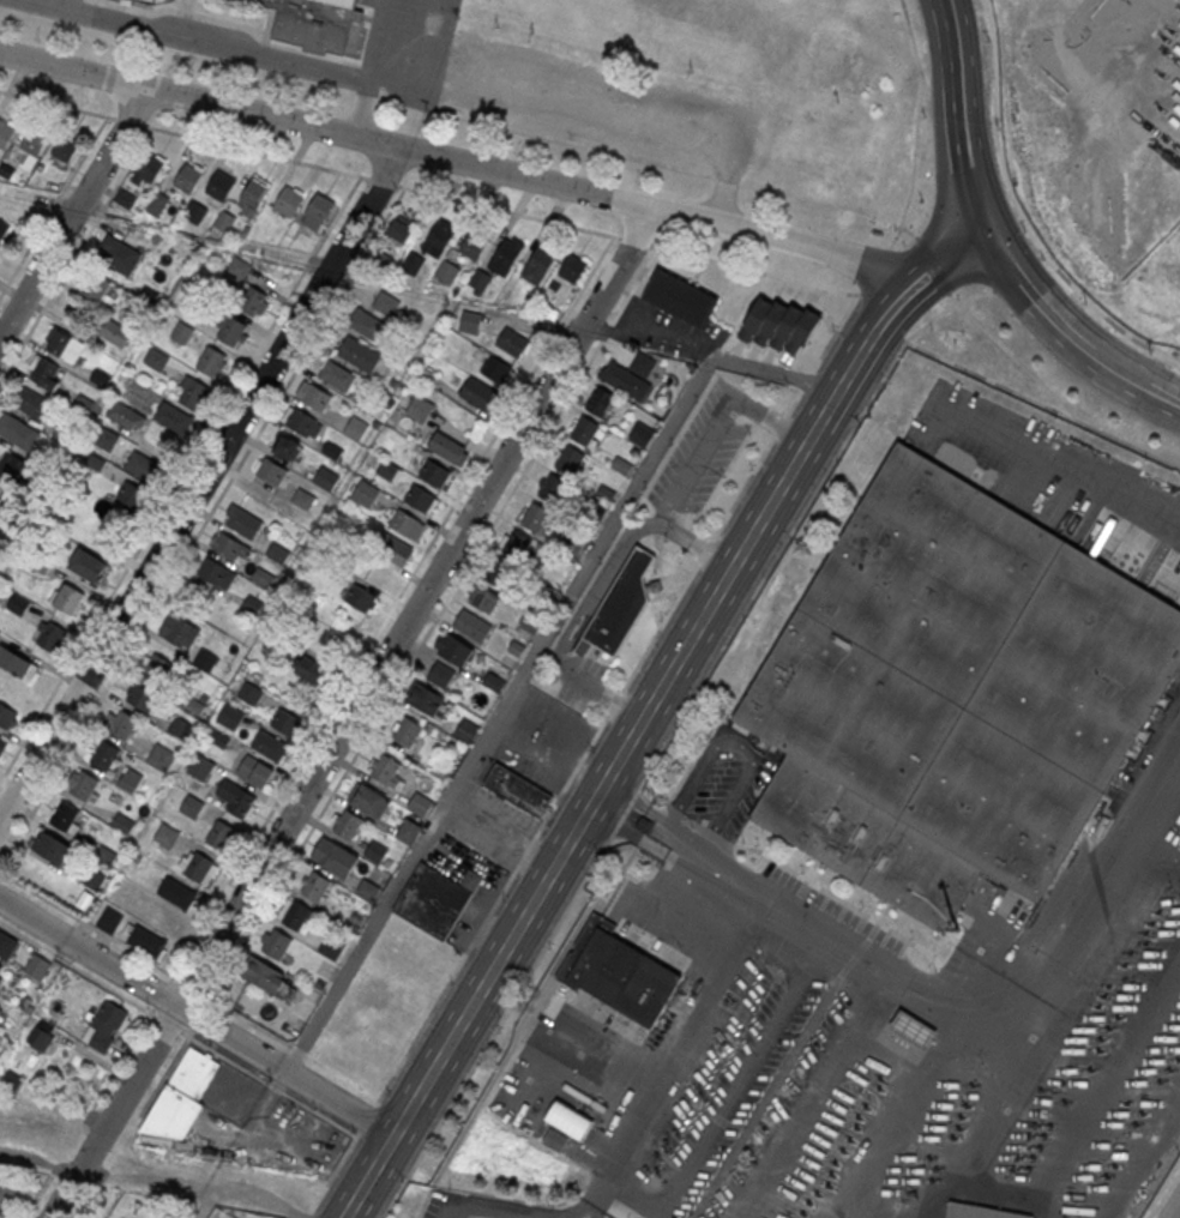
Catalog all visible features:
building: (150, 0)
building: (153, 0)
parking lot: (48, 7)
building: (313, 22)
road: (426, 46)
park: (761, 52)
road: (372, 68)
road: (608, 73)
road: (413, 90)
parking lot: (558, 91)
road: (56, 103)
road: (956, 119)
road: (130, 120)
road: (916, 125)
building: (6, 132)
road: (1175, 138)
building: (35, 140)
building: (66, 146)
road: (255, 150)
road: (457, 161)
building: (149, 167)
building: (188, 177)
road: (380, 180)
building: (221, 183)
building: (254, 192)
building: (126, 199)
building: (288, 200)
building: (157, 205)
road: (54, 206)
road: (1021, 206)
building: (318, 210)
road: (73, 211)
road: (507, 211)
building: (194, 213)
building: (224, 223)
road: (892, 224)
building: (2, 227)
building: (402, 229)
traffic signals: (987, 234)
building: (439, 237)
road: (634, 241)
building: (471, 247)
road: (76, 253)
building: (0, 254)
building: (119, 254)
building: (506, 255)
building: (413, 261)
road: (947, 261)
building: (537, 264)
road: (932, 265)
building: (572, 267)
road: (754, 269)
road: (873, 269)
building: (239, 270)
building: (447, 271)
building: (1179, 272)
building: (480, 279)
building: (95, 287)
road: (1031, 299)
building: (681, 300)
building: (253, 301)
building: (386, 302)
road: (893, 307)
building: (470, 320)
road: (660, 322)
building: (367, 324)
building: (778, 324)
road: (596, 327)
parking lot: (664, 330)
building: (230, 331)
road: (836, 331)
building: (114, 333)
building: (182, 333)
road: (661, 337)
building: (512, 340)
building: (64, 345)
building: (359, 352)
road: (1091, 355)
road: (859, 356)
road: (1173, 357)
building: (156, 358)
building: (212, 363)
building: (644, 366)
building: (495, 368)
road: (777, 373)
building: (46, 374)
building: (337, 375)
road: (806, 380)
building: (627, 381)
road: (1136, 382)
road: (1173, 387)
road: (1055, 390)
building: (480, 392)
building: (193, 394)
building: (313, 396)
building: (31, 402)
building: (602, 402)
road: (830, 404)
building: (420, 410)
building: (126, 417)
building: (174, 418)
road: (770, 418)
building: (301, 421)
building: (356, 427)
building: (17, 429)
building: (585, 432)
building: (640, 434)
building: (106, 439)
building: (287, 447)
building: (448, 450)
parking lot: (699, 457)
road: (697, 459)
building: (570, 460)
road: (758, 463)
building: (143, 468)
building: (12, 469)
building: (387, 469)
building: (272, 471)
building: (434, 472)
building: (326, 477)
road: (1062, 478)
road: (180, 483)
road: (200, 484)
building: (553, 489)
building: (366, 493)
building: (132, 495)
building: (303, 499)
building: (420, 499)
building: (536, 518)
building: (242, 520)
building: (404, 521)
road: (201, 526)
building: (517, 543)
road: (697, 543)
building: (230, 549)
building: (392, 549)
road: (706, 549)
building: (277, 551)
road: (614, 556)
building: (89, 565)
building: (499, 572)
building: (217, 574)
building: (263, 577)
building: (67, 597)
building: (361, 598)
building: (482, 599)
building: (252, 603)
building: (18, 604)
building: (622, 604)
road: (391, 607)
road: (432, 625)
building: (472, 625)
building: (179, 632)
road: (577, 633)
building: (49, 635)
road: (562, 640)
building: (456, 649)
building: (206, 659)
building: (16, 663)
building: (313, 670)
building: (440, 675)
building: (493, 682)
parking lot: (580, 682)
road: (585, 682)
building: (147, 683)
building: (249, 692)
building: (953, 692)
building: (425, 699)
road: (620, 706)
road: (354, 713)
road: (499, 714)
building: (8, 716)
building: (230, 716)
building: (287, 722)
building: (120, 724)
building: (180, 726)
building: (408, 731)
building: (466, 731)
road: (670, 735)
building: (218, 737)
parking lot: (542, 738)
building: (2, 743)
building: (270, 744)
building: (103, 755)
building: (161, 756)
road: (550, 760)
building: (200, 765)
building: (255, 770)
building: (386, 772)
building: (130, 779)
building: (83, 785)
building: (517, 790)
building: (235, 797)
building: (369, 801)
building: (420, 804)
building: (191, 806)
building: (65, 816)
road: (579, 819)
parking lot: (494, 824)
building: (347, 825)
road: (501, 830)
building: (408, 831)
building: (221, 833)
road: (536, 833)
building: (167, 834)
building: (52, 848)
road: (1161, 848)
building: (375, 852)
building: (335, 858)
building: (198, 866)
building: (471, 879)
building: (314, 887)
building: (368, 891)
building: (177, 892)
building: (433, 899)
parking lot: (475, 910)
building: (293, 915)
building: (108, 921)
road: (90, 924)
building: (146, 941)
building: (6, 945)
building: (275, 945)
building: (331, 948)
road: (90, 953)
building: (1, 964)
building: (36, 967)
road: (80, 970)
building: (618, 971)
building: (1132, 972)
building: (266, 977)
road: (193, 987)
road: (162, 991)
road: (921, 1000)
building: (1, 1009)
road: (199, 1015)
road: (248, 1019)
road: (170, 1025)
building: (106, 1026)
building: (914, 1027)
road: (191, 1031)
building: (40, 1038)
road: (297, 1049)
road: (676, 1051)
road: (121, 1060)
road: (284, 1072)
road: (164, 1074)
road: (746, 1074)
road: (342, 1075)
building: (11, 1081)
road: (269, 1084)
road: (1106, 1085)
road: (812, 1096)
building: (179, 1101)
building: (570, 1117)
road: (366, 1118)
building: (555, 1140)
road: (1145, 1160)
road: (335, 1170)
road: (200, 1181)
building: (6, 1190)
road: (35, 1195)
road: (84, 1201)
road: (207, 1201)
road: (589, 1208)
road: (1034, 1210)
road: (1175, 1210)
road: (308, 1212)
road: (466, 1216)

